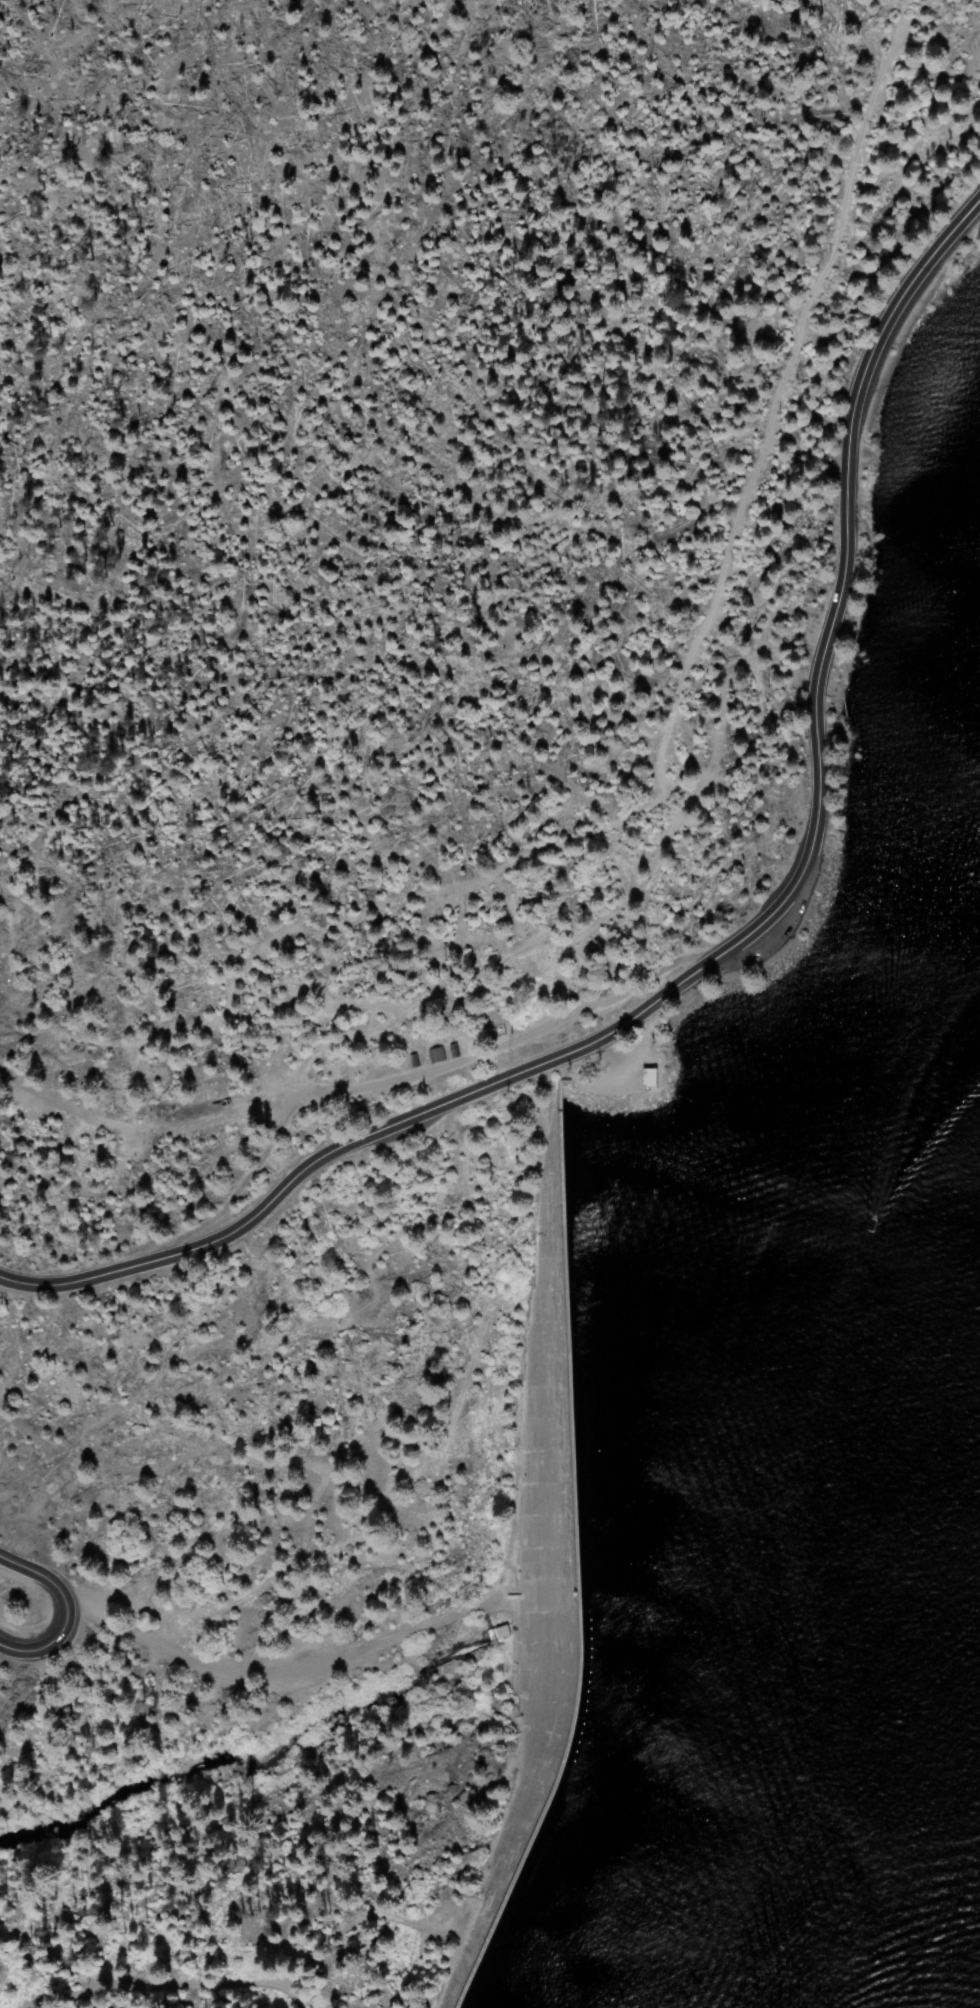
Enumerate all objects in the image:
road: (730, 941)
road: (398, 1079)
building: (628, 1086)
road: (137, 1118)
dam: (538, 1595)
road: (62, 1609)
road: (263, 1668)

